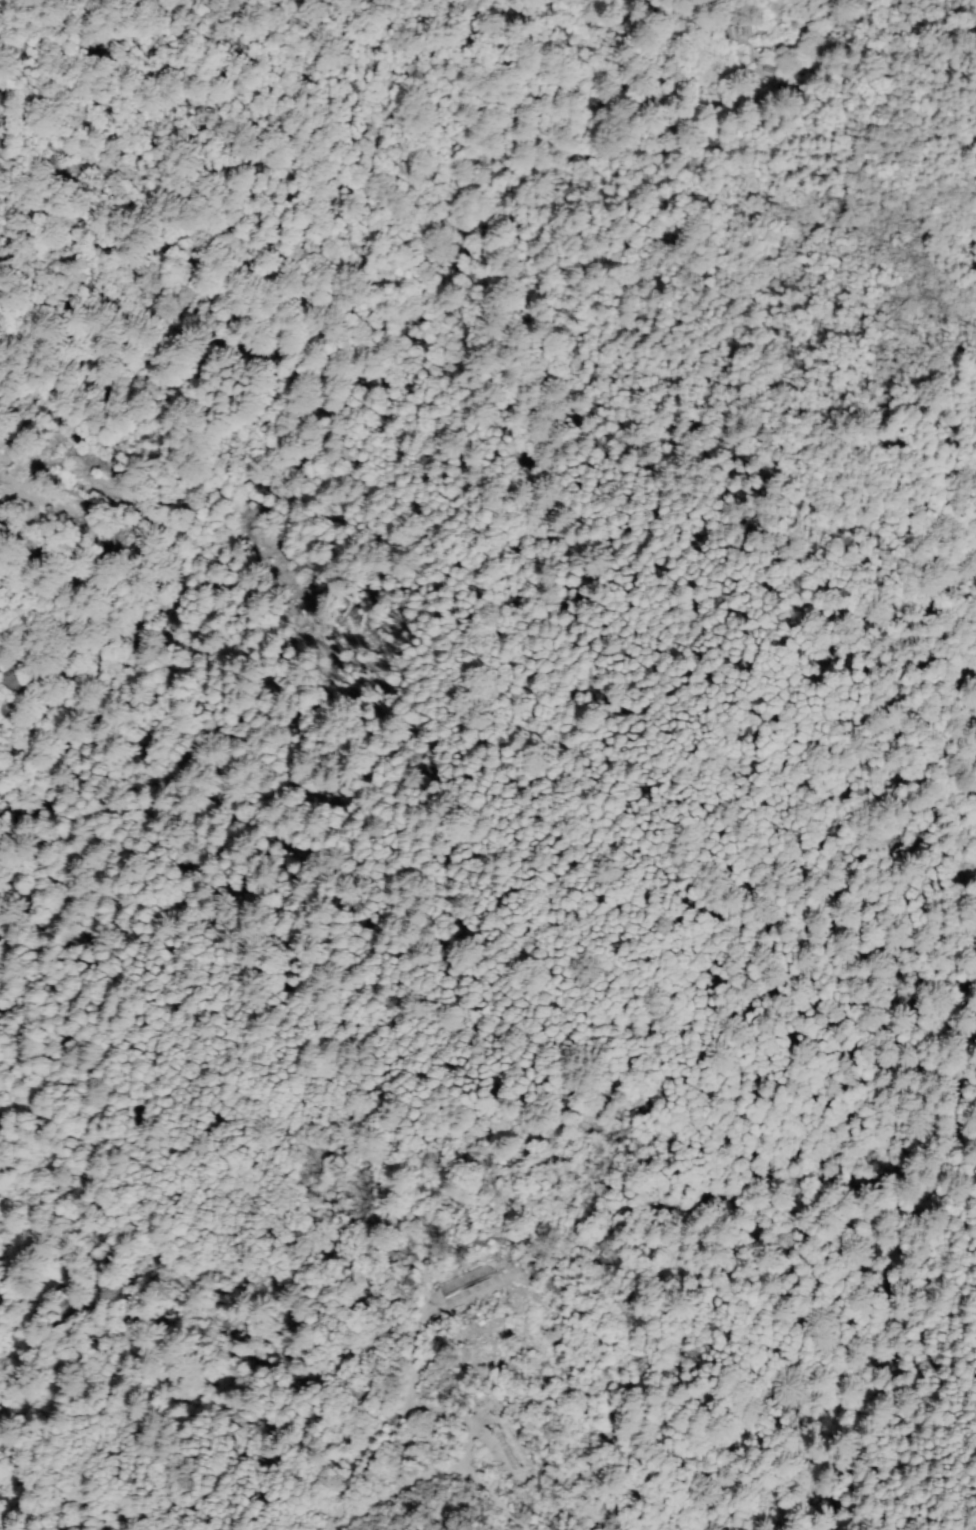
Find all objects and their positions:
road: (411, 1348)
road: (435, 1406)

